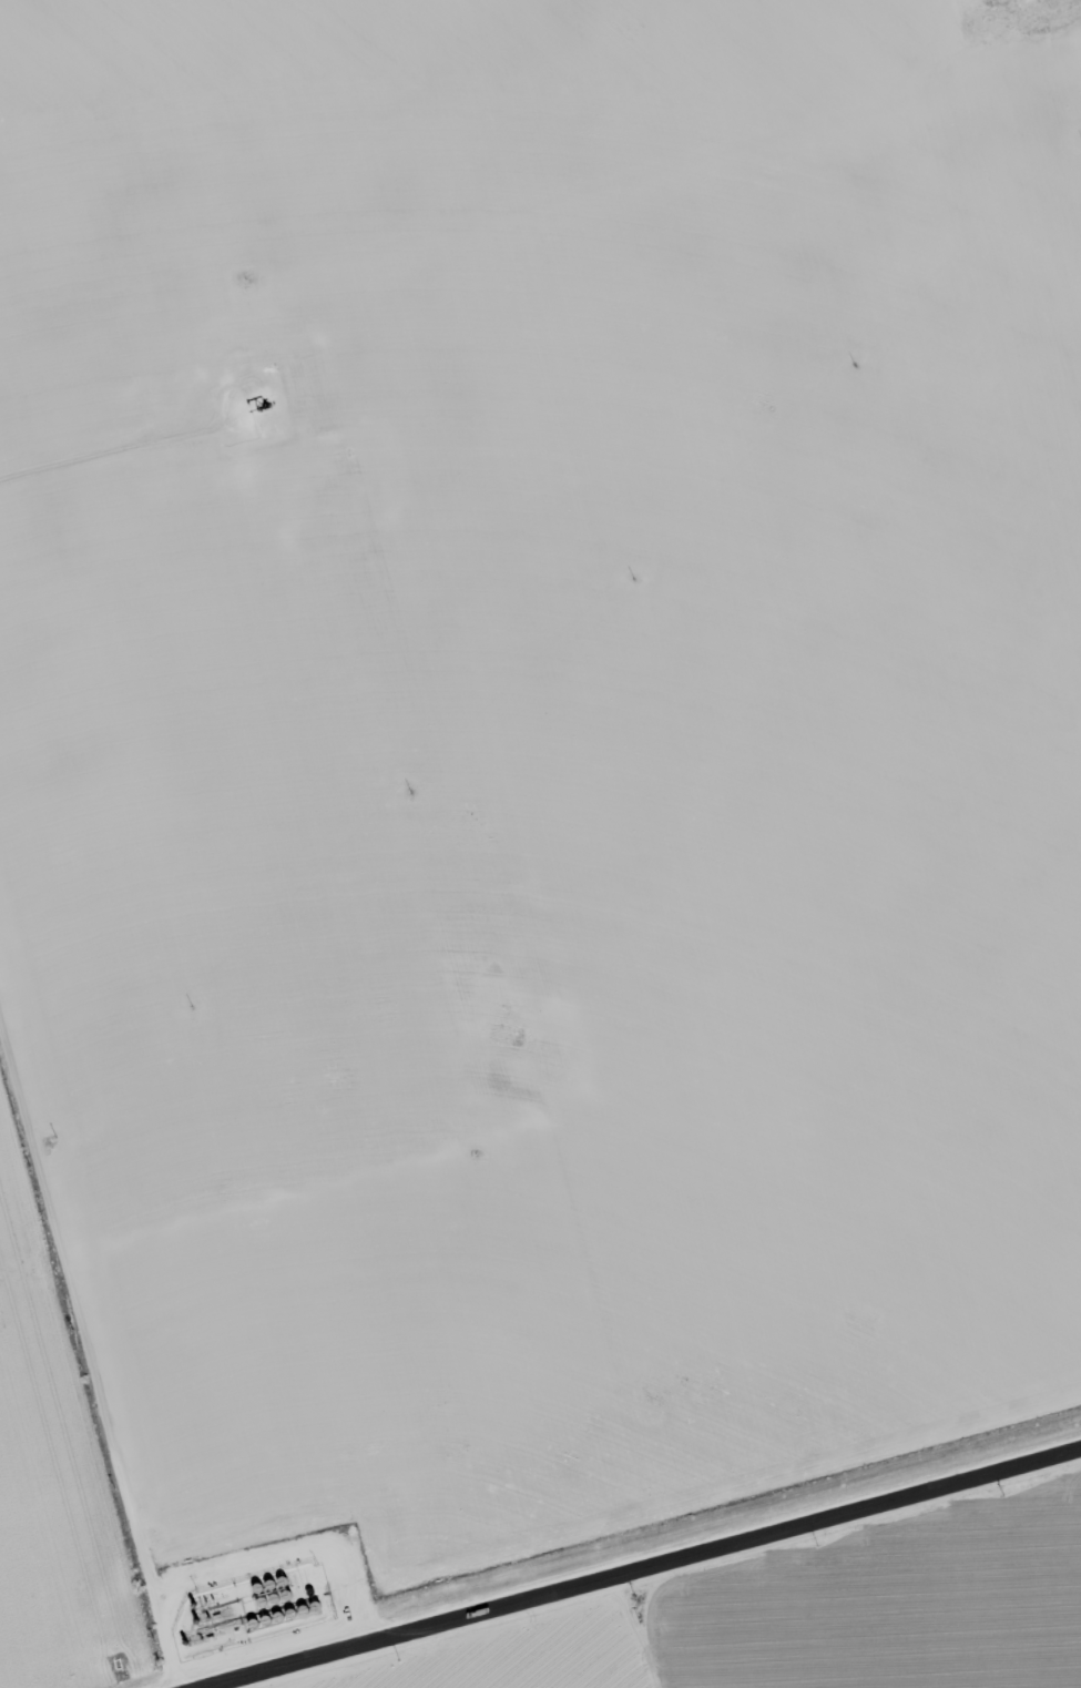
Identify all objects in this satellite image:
road: (656, 850)
road: (90, 1340)
road: (644, 1565)

